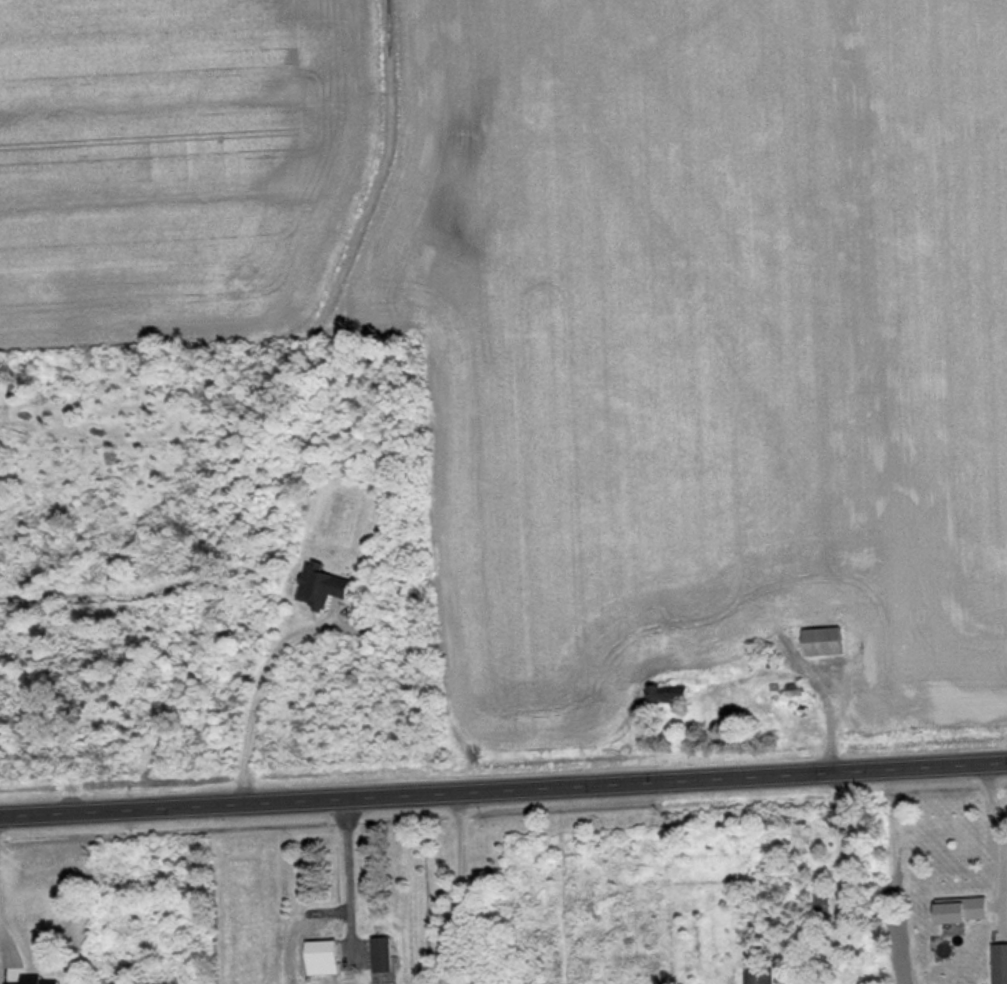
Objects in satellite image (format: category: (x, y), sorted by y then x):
building: (328, 584)
building: (830, 640)
building: (801, 690)
road: (602, 782)
road: (187, 806)
road: (195, 806)
road: (91, 811)
building: (970, 909)
building: (385, 952)
building: (1003, 963)
building: (764, 975)

